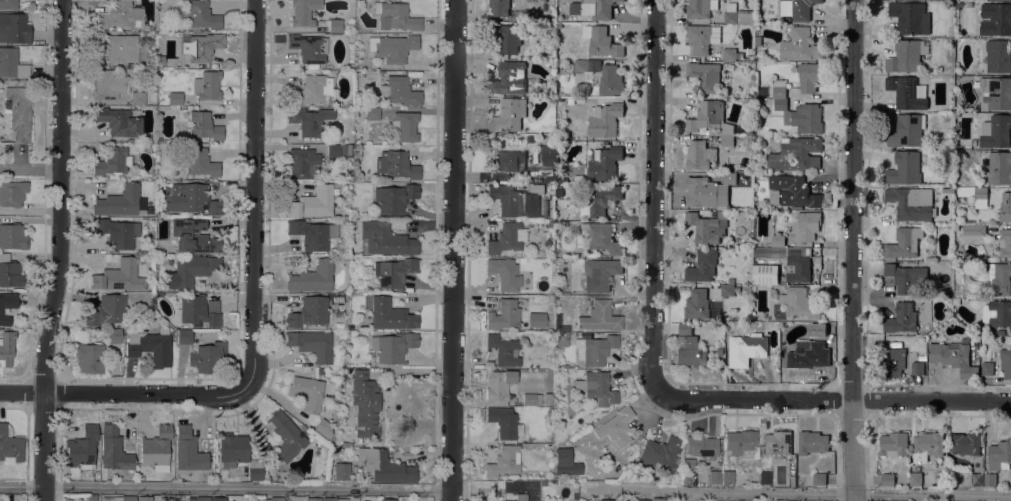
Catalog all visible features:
building: (8, 4)
building: (499, 7)
building: (701, 7)
building: (592, 8)
building: (797, 9)
building: (303, 12)
building: (738, 14)
building: (200, 15)
building: (529, 15)
building: (120, 16)
building: (395, 16)
building: (910, 17)
building: (996, 18)
building: (335, 25)
building: (559, 25)
building: (14, 28)
building: (356, 36)
building: (506, 36)
building: (702, 37)
building: (758, 40)
building: (601, 41)
building: (800, 44)
building: (204, 46)
building: (118, 47)
building: (309, 47)
building: (392, 47)
building: (730, 52)
building: (907, 55)
building: (998, 55)
building: (160, 61)
building: (13, 64)
building: (587, 65)
building: (705, 75)
building: (809, 76)
building: (509, 78)
building: (610, 80)
building: (109, 85)
building: (207, 86)
building: (779, 88)
building: (311, 90)
building: (398, 90)
building: (996, 91)
building: (907, 92)
building: (137, 97)
building: (175, 98)
building: (19, 112)
building: (372, 114)
building: (509, 114)
building: (706, 115)
building: (801, 116)
building: (604, 119)
building: (309, 120)
building: (120, 121)
building: (202, 125)
building: (405, 125)
building: (907, 131)
building: (996, 131)
building: (727, 133)
building: (148, 142)
building: (340, 150)
building: (795, 153)
building: (549, 154)
building: (699, 154)
building: (113, 160)
building: (507, 160)
building: (199, 162)
building: (604, 162)
building: (303, 163)
building: (396, 165)
building: (999, 167)
road: (30, 168)
building: (904, 168)
building: (551, 178)
building: (729, 178)
building: (948, 189)
building: (794, 190)
building: (701, 191)
building: (12, 193)
building: (975, 194)
road: (654, 196)
road: (255, 197)
building: (394, 198)
building: (192, 199)
building: (509, 199)
building: (121, 201)
building: (599, 201)
building: (313, 202)
building: (912, 203)
building: (1006, 206)
building: (807, 225)
building: (708, 226)
building: (117, 232)
building: (973, 232)
building: (313, 234)
building: (12, 236)
building: (193, 236)
building: (601, 237)
building: (507, 238)
building: (386, 239)
building: (778, 239)
building: (904, 242)
building: (1005, 242)
road: (61, 250)
road: (455, 250)
road: (853, 250)
building: (769, 251)
building: (799, 263)
building: (703, 265)
building: (190, 270)
building: (10, 272)
building: (394, 272)
building: (504, 273)
building: (765, 273)
building: (600, 274)
building: (119, 275)
building: (906, 276)
building: (312, 277)
building: (1000, 278)
building: (731, 280)
building: (728, 289)
building: (798, 302)
building: (697, 303)
building: (7, 306)
building: (108, 310)
building: (199, 310)
building: (310, 312)
building: (997, 312)
building: (391, 314)
building: (504, 314)
building: (599, 316)
building: (901, 318)
building: (556, 329)
building: (819, 329)
building: (113, 335)
building: (184, 337)
building: (560, 339)
building: (312, 343)
building: (151, 345)
building: (392, 346)
building: (749, 347)
building: (689, 348)
building: (504, 349)
building: (594, 349)
building: (719, 350)
building: (5, 353)
building: (808, 355)
building: (206, 356)
building: (90, 357)
building: (952, 357)
building: (894, 361)
building: (728, 362)
building: (1005, 362)
building: (917, 367)
building: (987, 367)
building: (320, 371)
building: (498, 384)
building: (598, 386)
building: (307, 392)
road: (127, 393)
building: (531, 397)
building: (547, 398)
road: (835, 400)
building: (364, 403)
road: (898, 415)
building: (504, 422)
building: (616, 427)
building: (323, 428)
building: (303, 429)
building: (286, 435)
building: (739, 441)
building: (812, 441)
building: (965, 442)
building: (777, 443)
building: (894, 443)
building: (928, 445)
building: (10, 447)
building: (701, 447)
building: (82, 448)
building: (156, 448)
building: (188, 450)
building: (115, 453)
building: (238, 453)
building: (660, 453)
building: (999, 455)
building: (563, 456)
building: (504, 461)
building: (384, 466)
building: (341, 471)
building: (715, 476)
building: (141, 477)
building: (728, 477)
building: (765, 477)
building: (819, 478)
building: (916, 478)
building: (977, 478)
building: (887, 479)
building: (990, 479)
road: (226, 487)
road: (840, 493)
building: (91, 497)
building: (176, 497)
building: (518, 497)
building: (128, 498)
building: (144, 498)
building: (166, 498)
building: (199, 498)
building: (218, 498)
building: (274, 498)
building: (107, 499)
building: (313, 499)
building: (333, 499)
building: (387, 499)
building: (657, 499)
building: (607, 500)
building: (644, 500)

